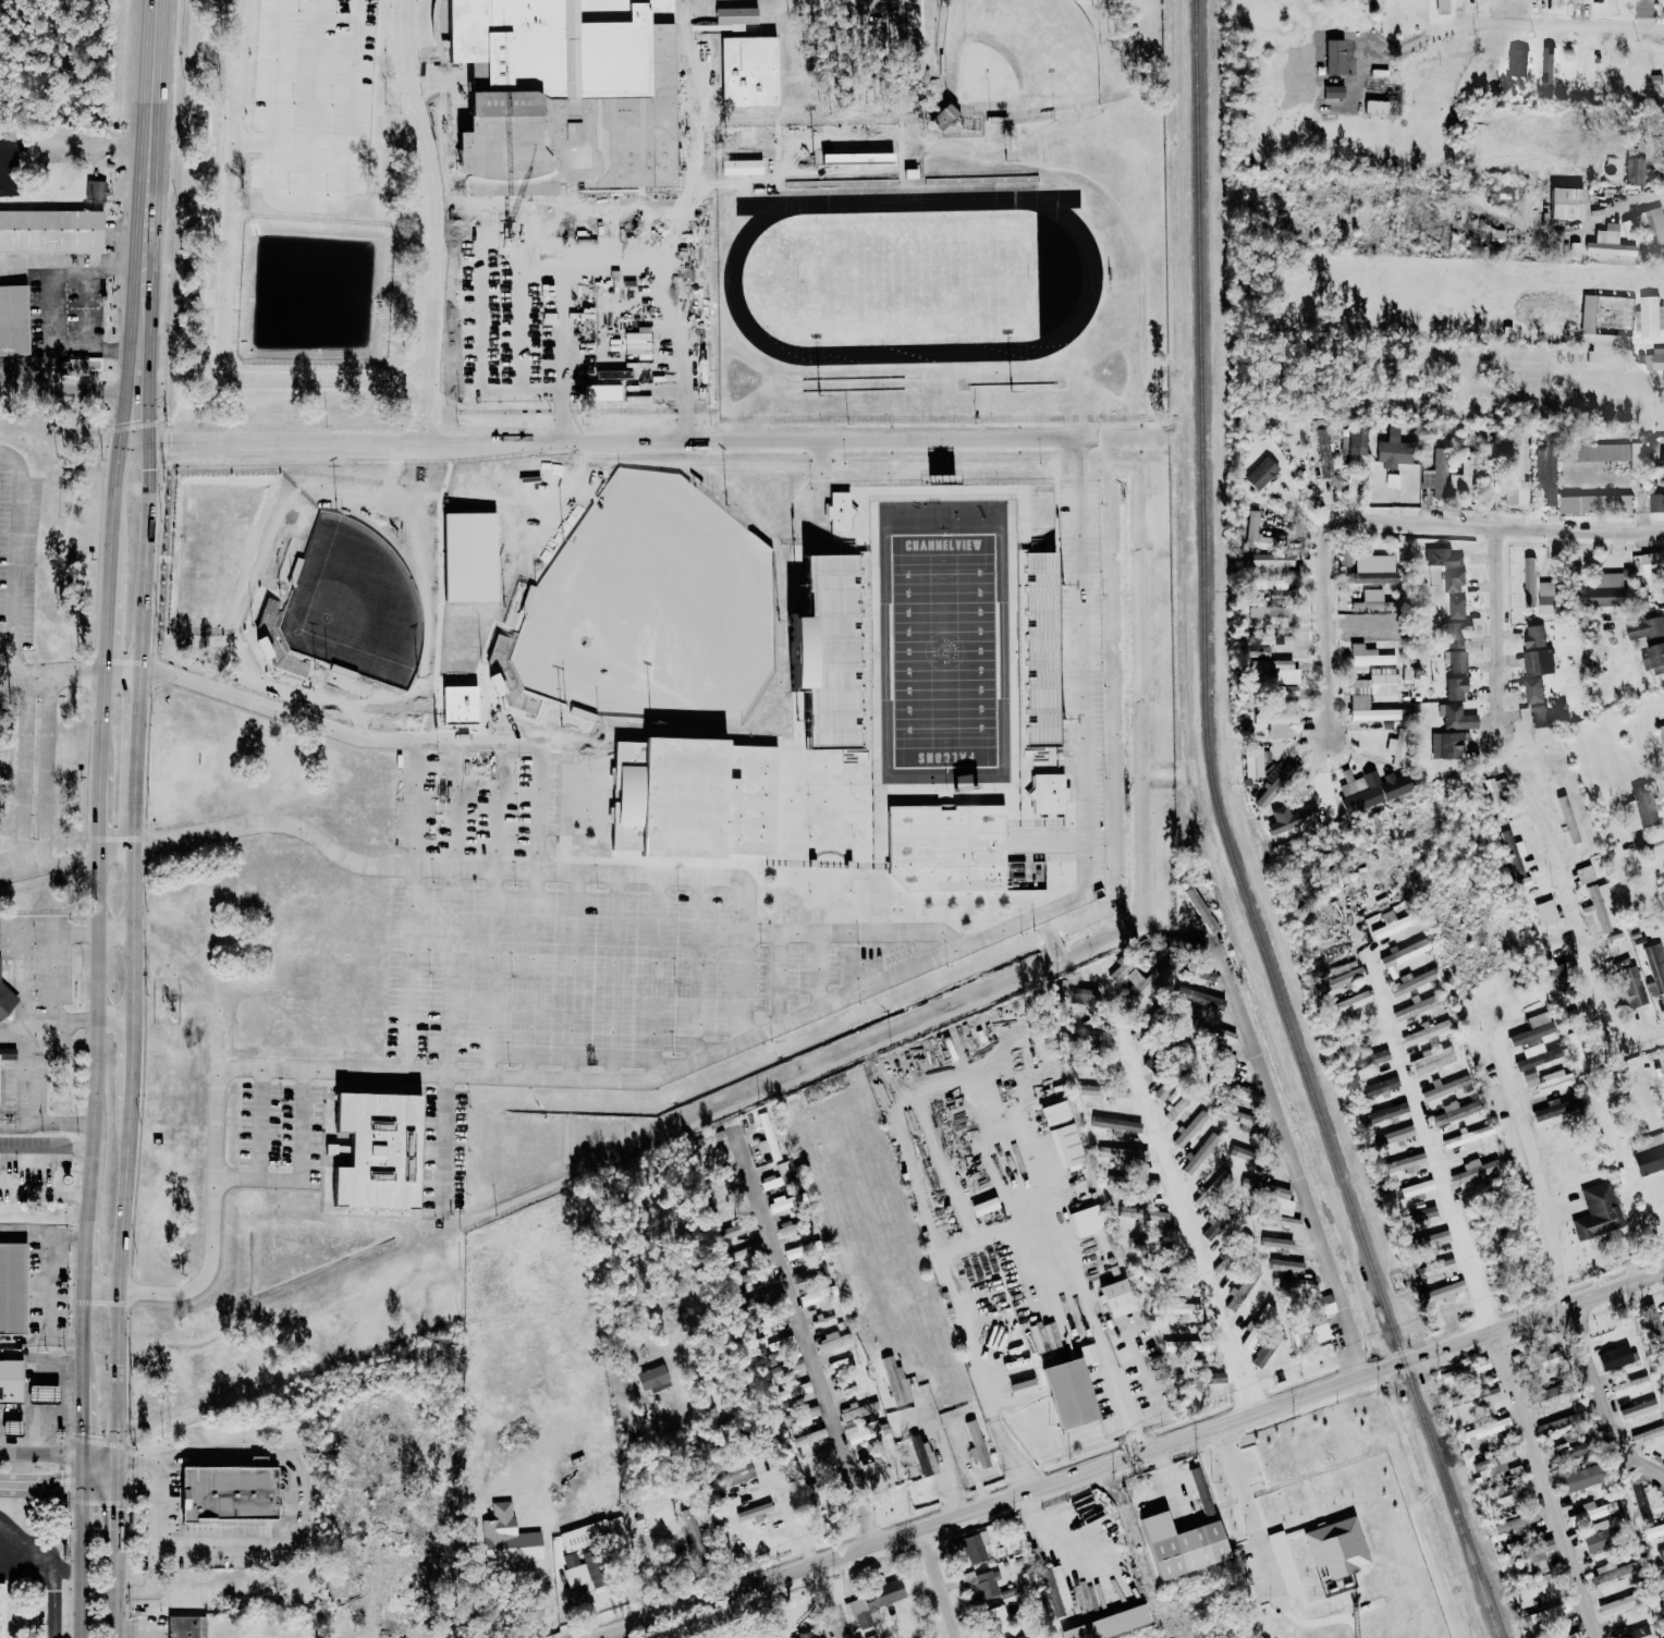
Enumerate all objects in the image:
building: (1603, 0)
building: (1442, 7)
building: (1643, 9)
building: (737, 15)
road: (1524, 24)
building: (556, 45)
park: (1017, 56)
building: (1333, 57)
building: (1517, 62)
road: (152, 71)
building: (749, 71)
building: (1546, 71)
road: (438, 78)
road: (314, 103)
building: (1374, 107)
road: (683, 109)
building: (942, 117)
road: (74, 136)
road: (254, 142)
building: (742, 166)
building: (8, 168)
building: (1635, 171)
building: (94, 191)
building: (1502, 194)
road: (429, 201)
building: (1565, 204)
road: (310, 207)
building: (1653, 230)
building: (51, 231)
building: (1495, 240)
road: (145, 243)
building: (1608, 243)
road: (1495, 255)
road: (684, 267)
stadium: (944, 269)
road: (101, 273)
track: (1091, 277)
park: (909, 280)
road: (224, 291)
road: (646, 303)
road: (481, 304)
road: (560, 304)
road: (601, 304)
road: (519, 305)
building: (1587, 314)
building: (1649, 318)
building: (13, 320)
road: (65, 339)
building: (1654, 359)
building: (76, 366)
road: (415, 366)
building: (1663, 378)
road: (70, 379)
road: (622, 388)
road: (138, 392)
road: (561, 415)
road: (425, 427)
building: (1355, 439)
road: (614, 440)
building: (1393, 450)
building: (1323, 452)
building: (1595, 452)
building: (1515, 461)
building: (1260, 473)
building: (1434, 474)
building: (1545, 474)
building: (1461, 477)
building: (1392, 480)
building: (1656, 501)
building: (1594, 503)
park: (461, 509)
building: (839, 510)
road: (1029, 510)
road: (111, 514)
road: (1494, 524)
building: (1256, 533)
road: (15, 550)
road: (142, 557)
building: (1344, 557)
building: (1441, 557)
building: (1652, 560)
building: (1272, 561)
building: (1372, 562)
building: (1453, 580)
building: (1529, 580)
building: (1270, 585)
building: (1606, 589)
park: (677, 595)
building: (1549, 597)
building: (1371, 601)
park: (331, 604)
building: (1456, 607)
building: (1269, 612)
road: (1497, 623)
building: (1645, 631)
road: (1326, 633)
road: (106, 634)
building: (1454, 634)
building: (1533, 635)
building: (1275, 639)
park: (945, 648)
building: (1036, 648)
building: (834, 650)
building: (1258, 653)
building: (1368, 656)
building: (1653, 657)
building: (1455, 660)
building: (1538, 661)
road: (11, 665)
building: (1276, 670)
building: (1406, 673)
road: (50, 675)
stadium: (920, 684)
building: (1455, 688)
building: (1532, 689)
building: (1287, 692)
building: (1358, 700)
road: (135, 711)
building: (1539, 716)
building: (1455, 717)
road: (102, 722)
building: (1276, 723)
road: (318, 724)
building: (1662, 731)
building: (1445, 745)
building: (1395, 746)
building: (1252, 760)
building: (1551, 769)
road: (46, 773)
road: (23, 774)
building: (1274, 785)
building: (1370, 789)
building: (1048, 793)
building: (693, 797)
building: (1493, 798)
road: (415, 804)
building: (1640, 808)
road: (1043, 812)
road: (101, 814)
building: (1567, 819)
building: (1293, 821)
road: (537, 827)
railway: (1221, 841)
road: (321, 843)
building: (946, 847)
road: (1653, 847)
building: (1513, 853)
building: (689, 861)
road: (50, 865)
building: (1583, 873)
road: (132, 882)
building: (1594, 913)
road: (809, 932)
building: (1192, 941)
building: (1403, 953)
building: (1128, 962)
building: (1341, 967)
building: (1654, 967)
building: (1198, 974)
building: (1556, 978)
building: (1338, 980)
building: (1410, 983)
building: (1628, 983)
building: (1139, 986)
road: (1599, 992)
building: (1198, 998)
building: (5, 1000)
building: (1347, 1003)
building: (1416, 1007)
building: (1532, 1028)
road: (12, 1029)
building: (1215, 1031)
building: (1366, 1031)
building: (1426, 1031)
road: (98, 1036)
building: (1576, 1049)
building: (7, 1053)
building: (1537, 1055)
building: (1222, 1059)
building: (1432, 1059)
building: (1366, 1060)
road: (130, 1062)
road: (653, 1064)
road: (22, 1072)
building: (1437, 1073)
building: (1529, 1078)
building: (1554, 1079)
building: (1442, 1087)
building: (1377, 1089)
building: (1102, 1091)
building: (1160, 1092)
building: (1240, 1092)
building: (1177, 1105)
building: (1555, 1108)
building: (1453, 1111)
building: (1054, 1113)
building: (1382, 1113)
building: (1237, 1117)
road: (53, 1122)
road: (264, 1122)
building: (1115, 1124)
road: (8, 1126)
building: (1189, 1128)
road: (443, 1135)
building: (1391, 1136)
building: (1467, 1136)
building: (767, 1137)
building: (709, 1139)
road: (905, 1146)
building: (1065, 1147)
road: (62, 1150)
building: (372, 1150)
road: (15, 1151)
road: (1431, 1151)
building: (1238, 1152)
building: (1130, 1153)
building: (1199, 1153)
building: (1648, 1153)
building: (1586, 1160)
building: (1267, 1162)
building: (1400, 1163)
road: (303, 1166)
building: (1473, 1170)
building: (783, 1173)
road: (32, 1174)
road: (1295, 1179)
building: (1146, 1184)
building: (1209, 1189)
building: (1409, 1190)
road: (65, 1194)
building: (1268, 1194)
building: (1596, 1211)
building: (1142, 1213)
building: (1416, 1214)
building: (1223, 1215)
road: (1189, 1217)
building: (1277, 1220)
building: (1092, 1225)
road: (212, 1228)
building: (735, 1230)
road: (44, 1234)
building: (1245, 1239)
building: (1430, 1239)
building: (1276, 1243)
building: (1153, 1244)
building: (794, 1252)
building: (745, 1255)
road: (86, 1256)
road: (1554, 1260)
building: (1220, 1266)
building: (1290, 1266)
building: (1435, 1268)
building: (760, 1272)
building: (1155, 1276)
road: (118, 1280)
building: (1182, 1282)
building: (1301, 1284)
building: (13, 1285)
road: (49, 1286)
building: (1240, 1289)
building: (1443, 1292)
building: (809, 1297)
building: (1116, 1297)
building: (1180, 1308)
building: (1264, 1315)
building: (1312, 1323)
building: (1654, 1327)
road: (41, 1337)
road: (84, 1337)
building: (1249, 1340)
building: (832, 1341)
building: (1188, 1347)
building: (1267, 1347)
building: (1088, 1353)
road: (813, 1356)
building: (1614, 1357)
building: (1540, 1360)
road: (1150, 1364)
building: (784, 1368)
road: (1118, 1372)
building: (1463, 1372)
building: (651, 1377)
building: (1211, 1378)
building: (11, 1379)
building: (895, 1381)
building: (1629, 1385)
building: (1020, 1386)
building: (792, 1391)
building: (45, 1392)
building: (1067, 1393)
road: (1603, 1394)
building: (1540, 1395)
building: (1473, 1398)
building: (1638, 1408)
building: (855, 1409)
building: (1563, 1419)
building: (13, 1425)
building: (1485, 1429)
building: (861, 1430)
traffic signals: (83, 1431)
building: (972, 1431)
road: (83, 1433)
building: (1648, 1434)
building: (809, 1438)
road: (53, 1452)
building: (1567, 1453)
building: (921, 1455)
traffic signals: (131, 1458)
road: (132, 1458)
road: (1131, 1458)
building: (1494, 1463)
road: (944, 1464)
building: (736, 1471)
building: (874, 1471)
road: (155, 1475)
building: (1579, 1479)
road: (39, 1483)
road: (1173, 1483)
traffic signals: (60, 1484)
road: (95, 1484)
road: (132, 1486)
road: (1545, 1486)
building: (228, 1490)
building: (1509, 1490)
building: (1200, 1491)
road: (706, 1498)
building: (1639, 1500)
road: (109, 1506)
road: (1246, 1507)
traffic signals: (109, 1508)
building: (754, 1512)
building: (1591, 1512)
road: (159, 1517)
road: (796, 1520)
building: (1516, 1521)
building: (1099, 1528)
building: (1653, 1531)
building: (1600, 1533)
road: (296, 1539)
building: (506, 1540)
road: (1056, 1541)
building: (970, 1547)
building: (1335, 1547)
building: (1186, 1550)
building: (1661, 1553)
building: (1539, 1555)
road: (79, 1561)
building: (1608, 1572)
building: (1661, 1578)
building: (1535, 1581)
building: (981, 1582)
road: (939, 1585)
building: (1055, 1590)
building: (1122, 1590)
road: (109, 1598)
road: (830, 1601)
building: (871, 1601)
building: (1617, 1604)
building: (1, 1611)
road: (748, 1614)
building: (1545, 1614)
road: (375, 1618)
building: (998, 1618)
building: (1109, 1624)
building: (185, 1626)
building: (1634, 1631)
road: (614, 1635)
building: (806, 1635)
building: (1571, 1635)
building: (1019, 1637)

